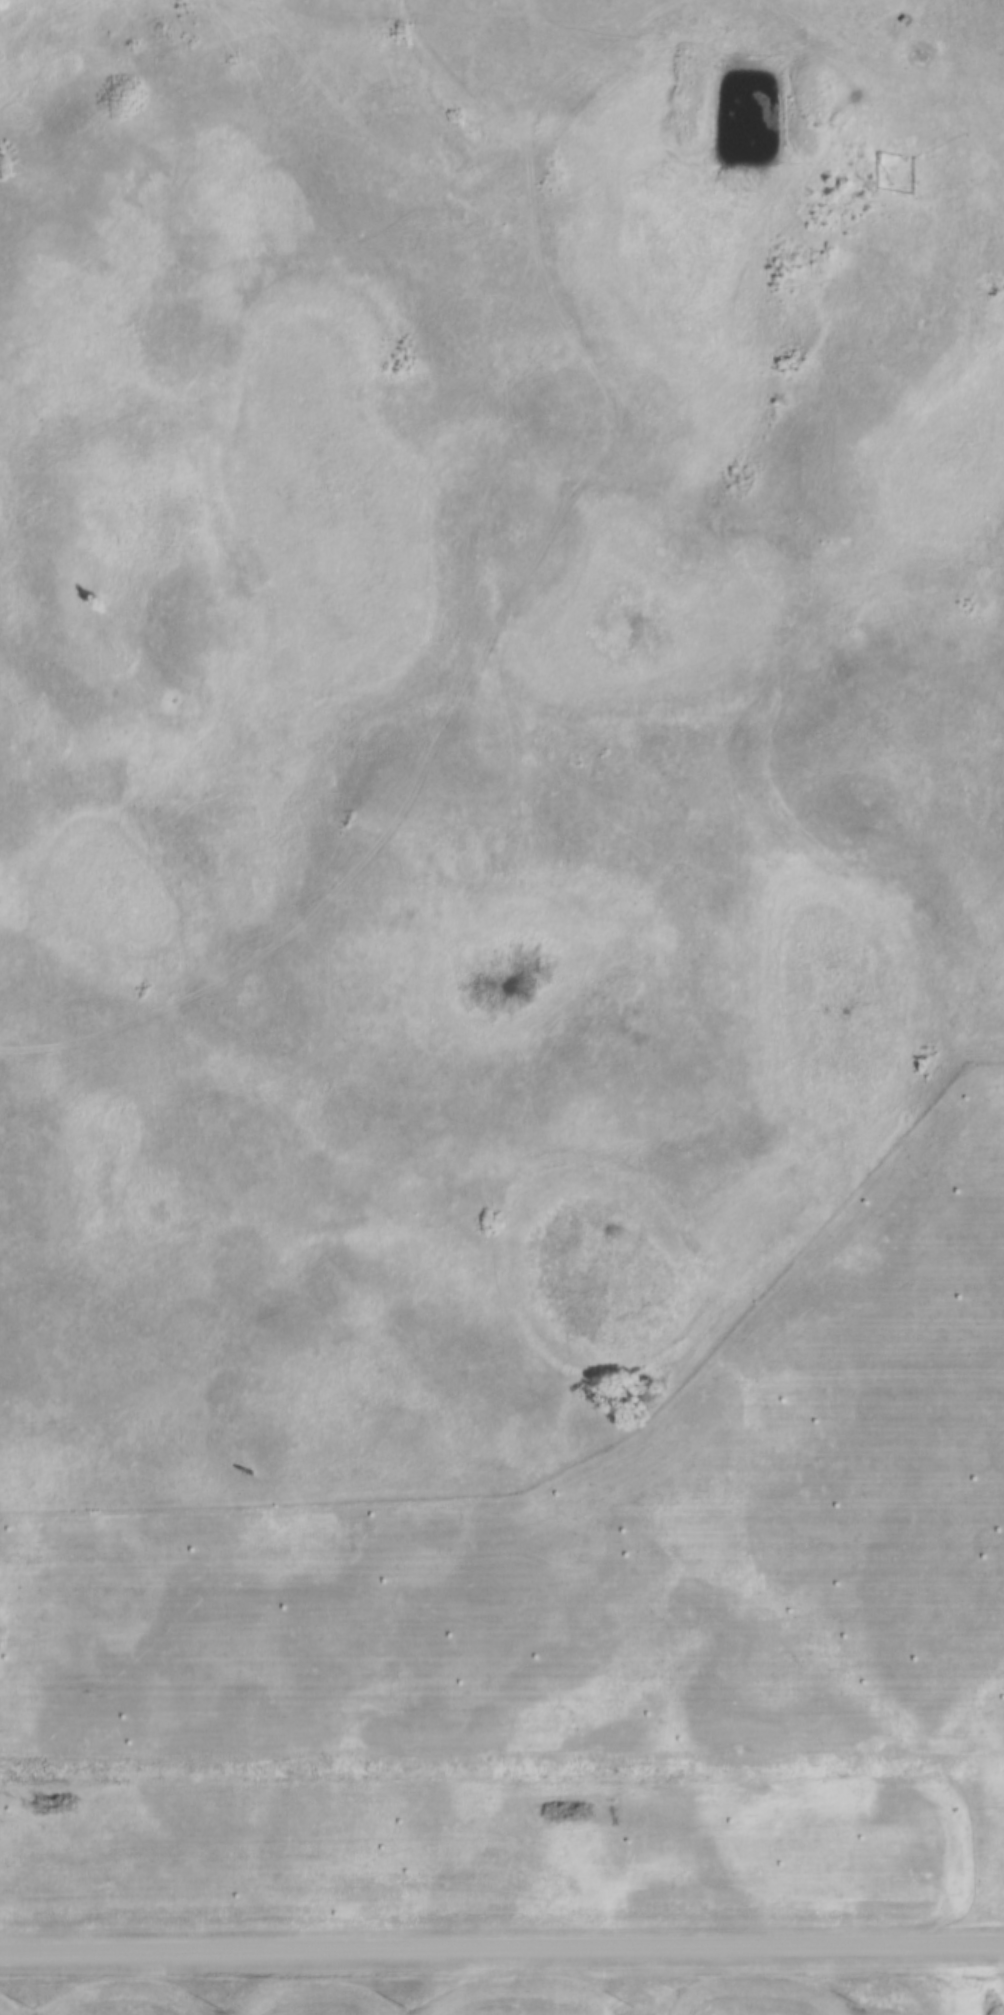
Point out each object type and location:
road: (501, 1947)

